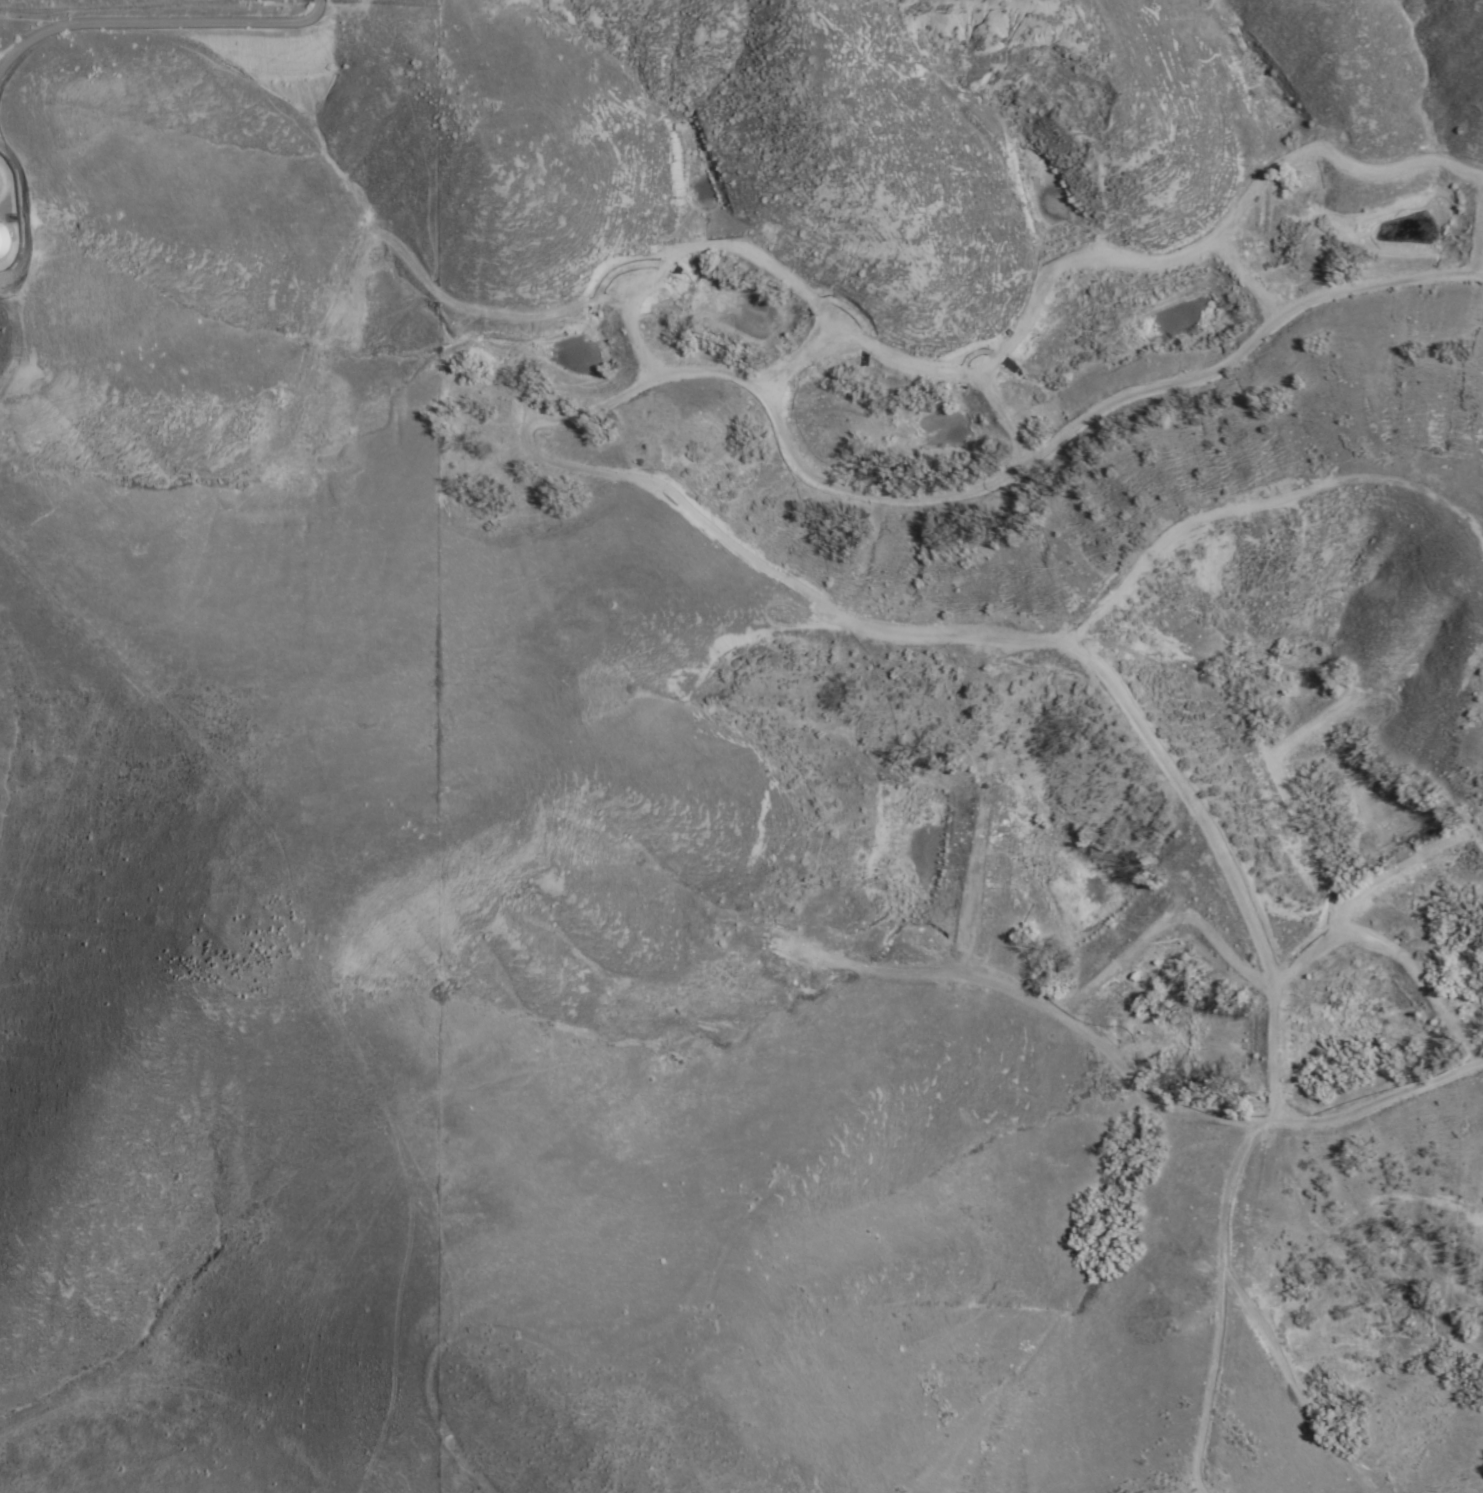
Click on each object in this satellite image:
building: (2, 242)
road: (21, 322)
road: (1001, 458)
road: (1184, 897)
road: (1186, 1185)

